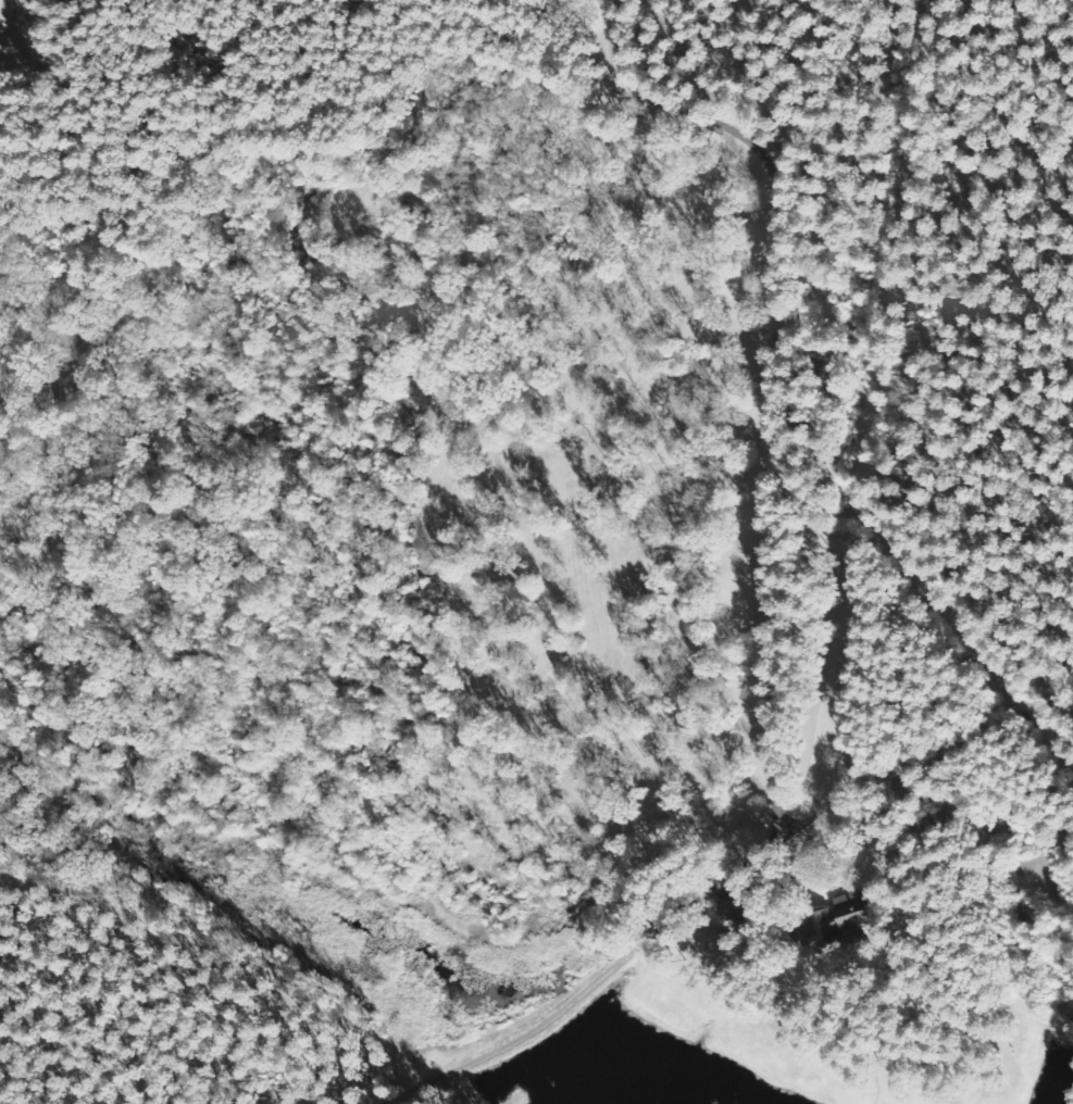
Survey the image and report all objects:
road: (521, 9)
road: (743, 856)
building: (748, 913)
building: (846, 919)
building: (724, 945)

